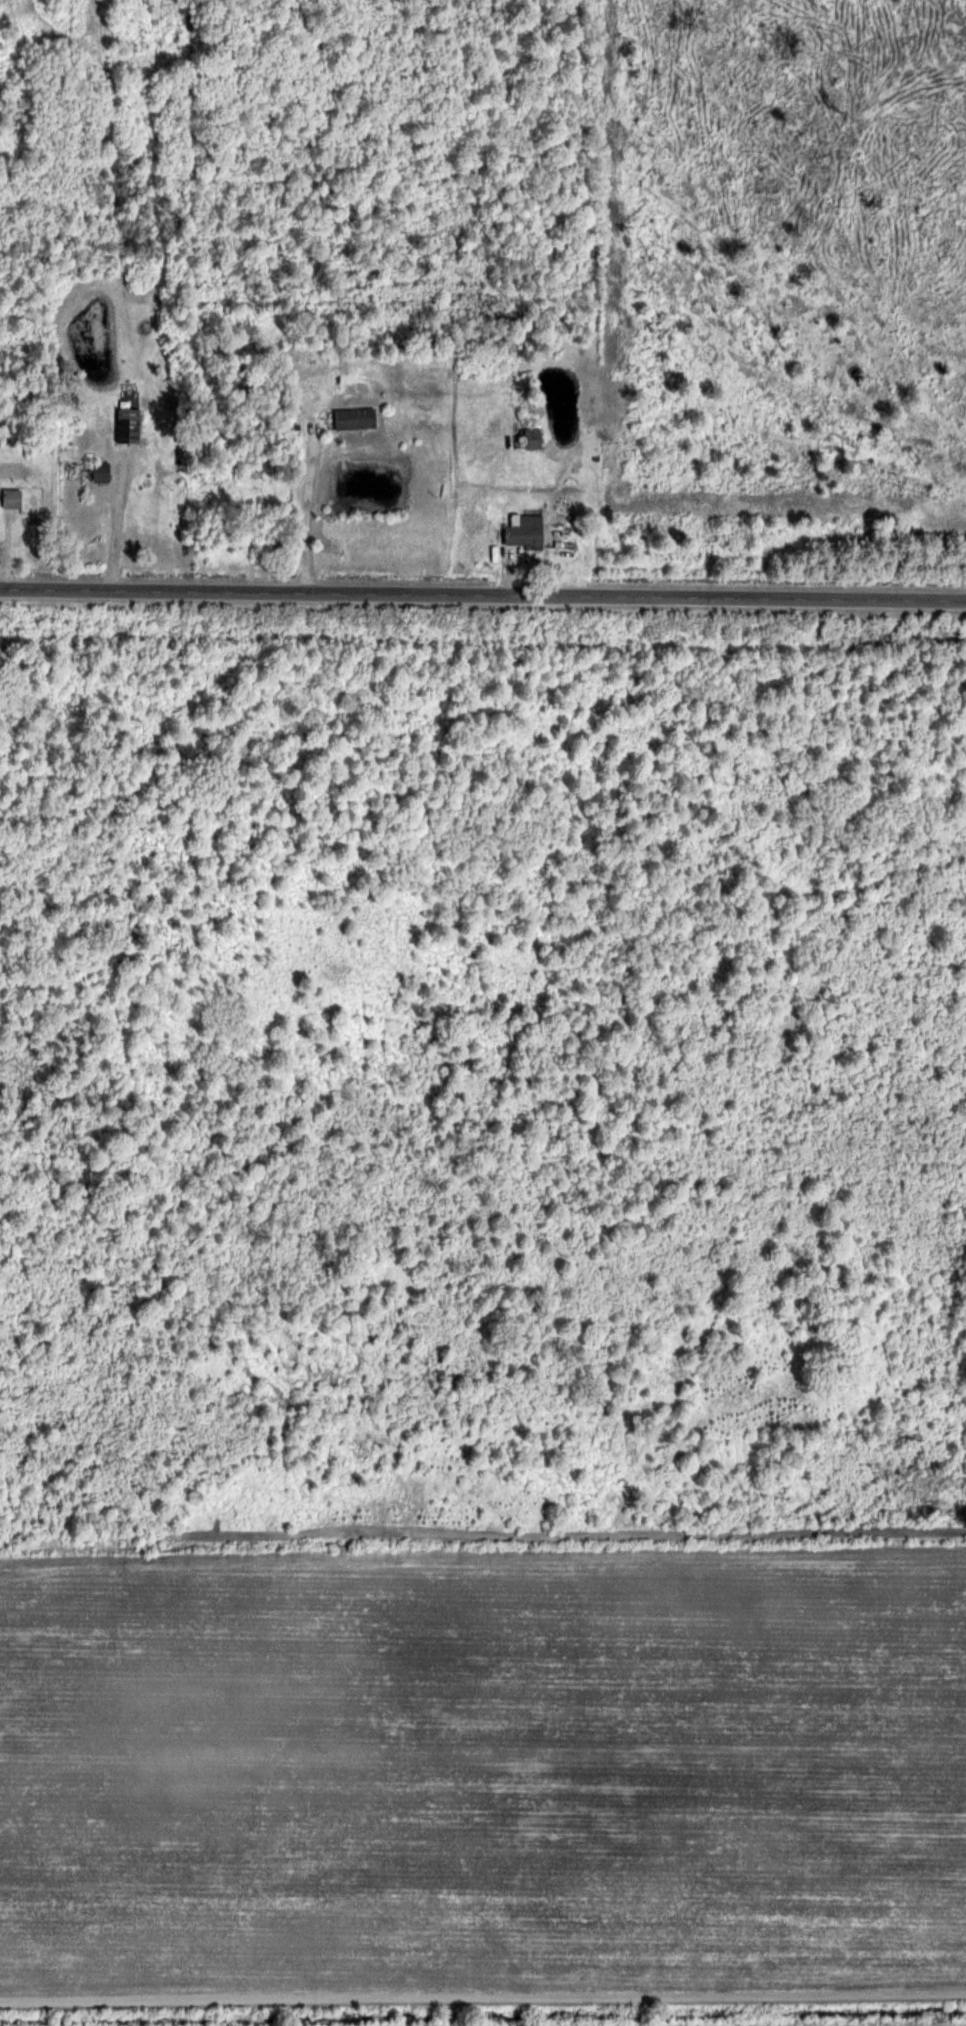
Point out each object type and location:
building: (353, 418)
building: (127, 425)
building: (531, 438)
building: (86, 472)
building: (11, 498)
road: (313, 508)
road: (122, 524)
building: (523, 531)
road: (482, 596)

